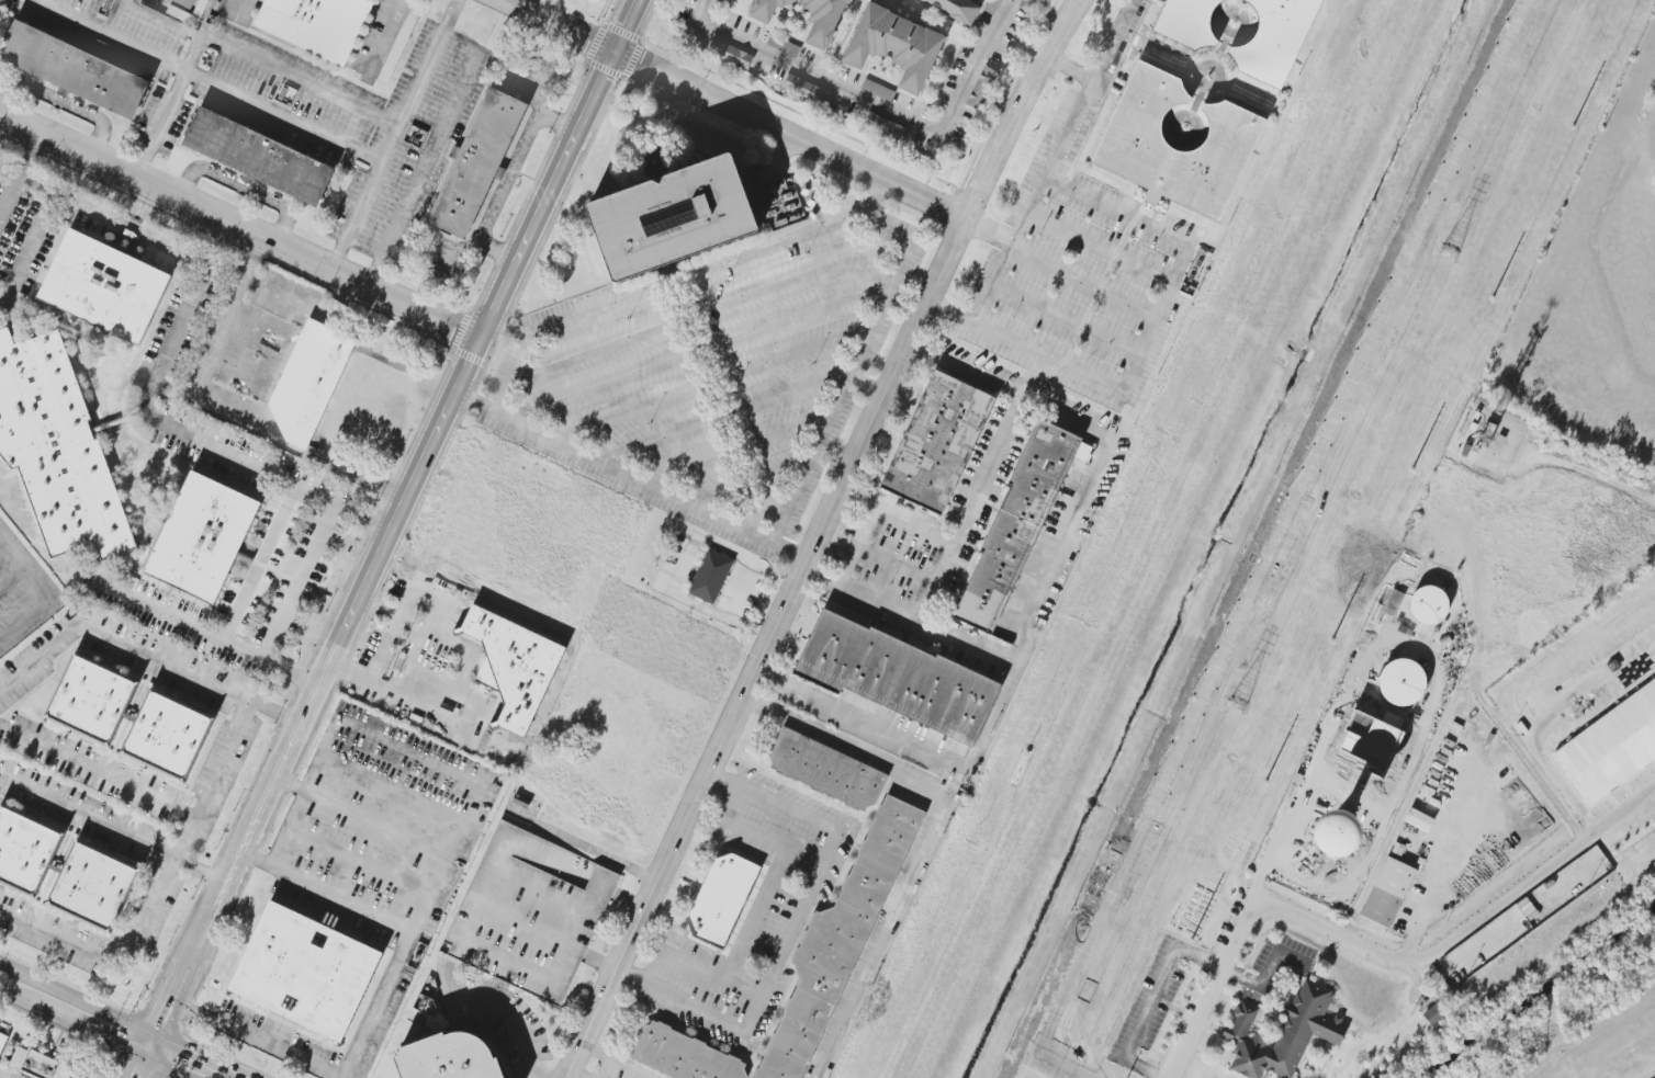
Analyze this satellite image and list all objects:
road: (396, 1)
building: (185, 2)
road: (533, 5)
building: (1031, 5)
road: (229, 8)
building: (953, 9)
parking lot: (232, 10)
road: (161, 20)
road: (1223, 20)
building: (1184, 22)
building: (311, 24)
building: (823, 24)
road: (562, 25)
parking lot: (110, 31)
road: (382, 37)
parking lot: (382, 38)
building: (1272, 38)
building: (395, 45)
building: (784, 45)
road: (229, 47)
building: (891, 47)
road: (1221, 49)
road: (1160, 52)
building: (730, 54)
building: (68, 68)
road: (1068, 69)
road: (1197, 72)
road: (207, 82)
building: (982, 88)
building: (804, 89)
road: (1196, 102)
road: (64, 105)
road: (876, 106)
road: (1017, 109)
parking lot: (353, 123)
road: (560, 123)
road: (1173, 125)
building: (885, 126)
road: (394, 134)
road: (790, 136)
building: (1129, 140)
road: (430, 150)
road: (29, 154)
building: (251, 156)
road: (1054, 161)
building: (469, 162)
road: (775, 163)
road: (561, 168)
road: (9, 171)
building: (1653, 177)
storage tank: (1653, 177)
road: (510, 178)
road: (240, 189)
road: (9, 195)
road: (868, 200)
building: (663, 216)
road: (113, 218)
road: (239, 225)
road: (837, 226)
power tower: (1452, 235)
road: (27, 246)
road: (1101, 247)
road: (498, 252)
road: (1058, 269)
parking lot: (1080, 270)
building: (101, 284)
road: (706, 308)
road: (1065, 321)
road: (507, 329)
road: (1141, 345)
road: (702, 348)
parking lot: (711, 366)
building: (305, 379)
road: (713, 383)
road: (743, 412)
building: (933, 442)
road: (221, 451)
road: (738, 452)
building: (56, 453)
road: (3, 475)
road: (628, 475)
road: (747, 481)
road: (969, 507)
road: (876, 513)
road: (361, 519)
road: (762, 520)
building: (1012, 523)
building: (198, 534)
road: (260, 563)
road: (897, 563)
building: (707, 576)
road: (772, 578)
road: (13, 579)
road: (49, 593)
building: (1394, 603)
road: (447, 604)
building: (1429, 605)
road: (1031, 608)
road: (909, 613)
road: (723, 617)
road: (750, 624)
road: (211, 634)
road: (391, 636)
road: (454, 646)
road: (762, 648)
road: (143, 655)
road: (1427, 658)
building: (513, 666)
building: (488, 671)
building: (892, 676)
road: (430, 680)
building: (1401, 682)
building: (89, 697)
road: (413, 705)
power tower: (1237, 705)
road: (308, 706)
building: (1371, 710)
building: (164, 735)
road: (843, 745)
building: (1611, 745)
building: (1386, 748)
building: (823, 770)
road: (95, 774)
road: (480, 786)
road: (391, 790)
road: (360, 819)
building: (1419, 820)
road: (113, 829)
building: (1337, 835)
road: (758, 838)
building: (21, 846)
road: (582, 847)
road: (1643, 860)
road: (356, 864)
building: (90, 884)
road: (1439, 884)
road: (160, 888)
road: (326, 893)
building: (1388, 893)
building: (719, 897)
building: (526, 914)
parking lot: (526, 914)
road: (755, 916)
road: (1467, 928)
road: (791, 929)
road: (877, 935)
building: (836, 942)
road: (695, 965)
building: (302, 969)
road: (1268, 969)
road: (1214, 988)
road: (1146, 996)
road: (21, 998)
road: (79, 998)
building: (1433, 1014)
road: (513, 1022)
road: (94, 1033)
building: (1284, 1033)
traffic signals: (158, 1034)
road: (250, 1040)
building: (2, 1042)
building: (680, 1054)
road: (202, 1056)
building: (440, 1057)
traffic signals: (147, 1059)
road: (613, 1062)
building: (40, 1064)
road: (167, 1068)
building: (4, 1073)
road: (573, 1075)

